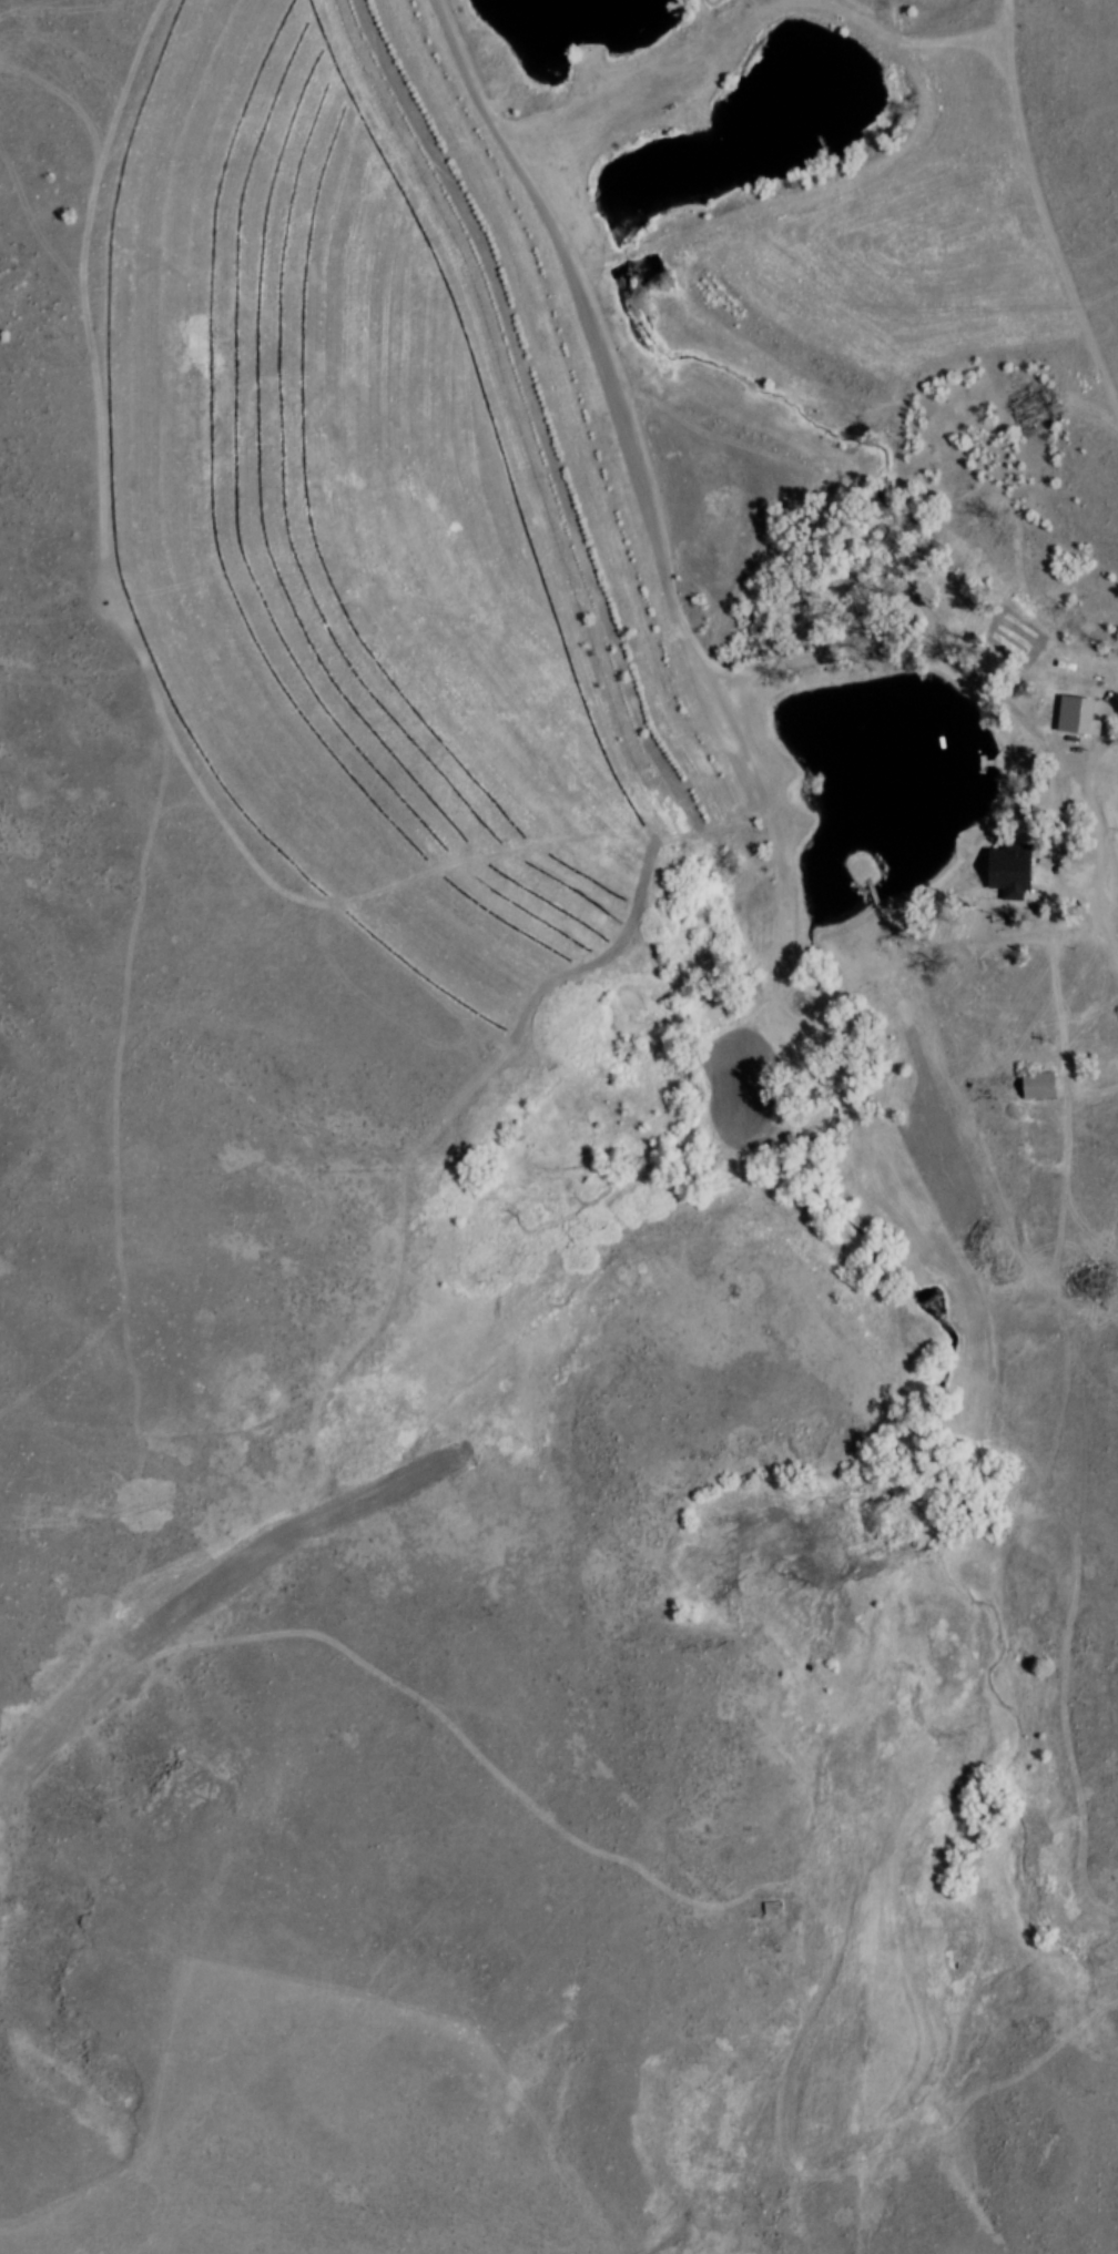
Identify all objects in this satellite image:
building: (1067, 723)
building: (1016, 871)
building: (1004, 876)
road: (1085, 886)
building: (1029, 1088)
building: (774, 1908)

